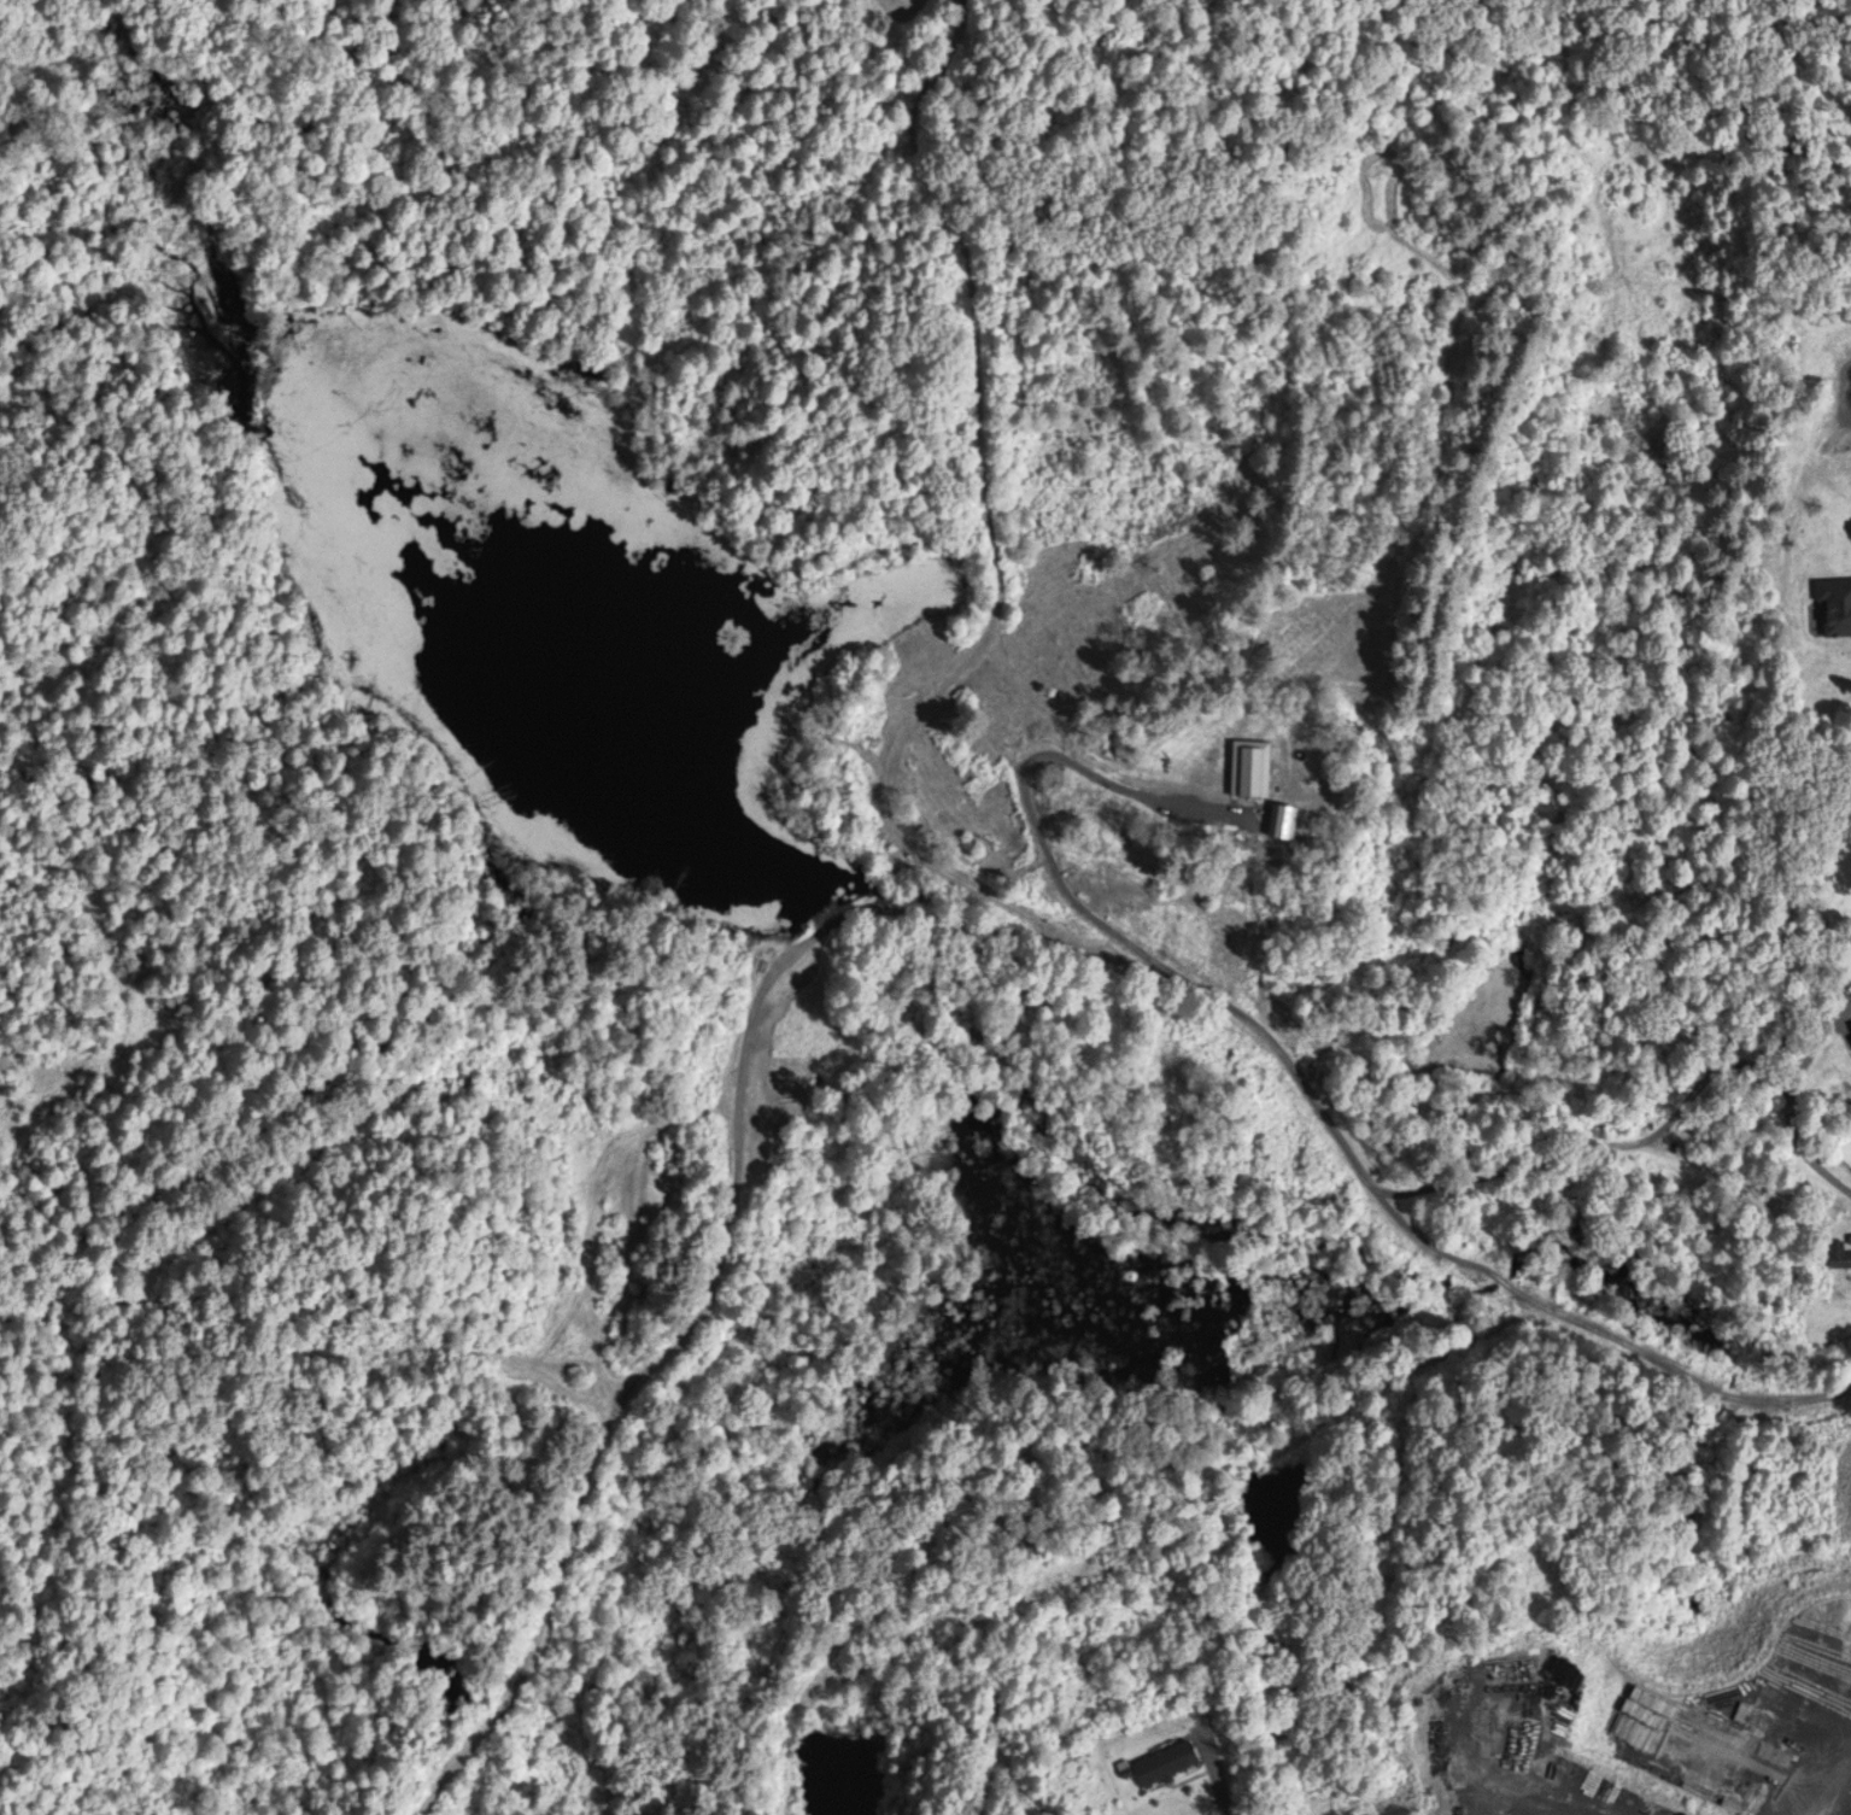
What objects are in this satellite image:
road: (1043, 492)
building: (1838, 590)
road: (912, 925)
road: (1796, 1101)
building: (1841, 1254)
road: (1300, 1486)
building: (1167, 1761)
road: (1214, 1773)

